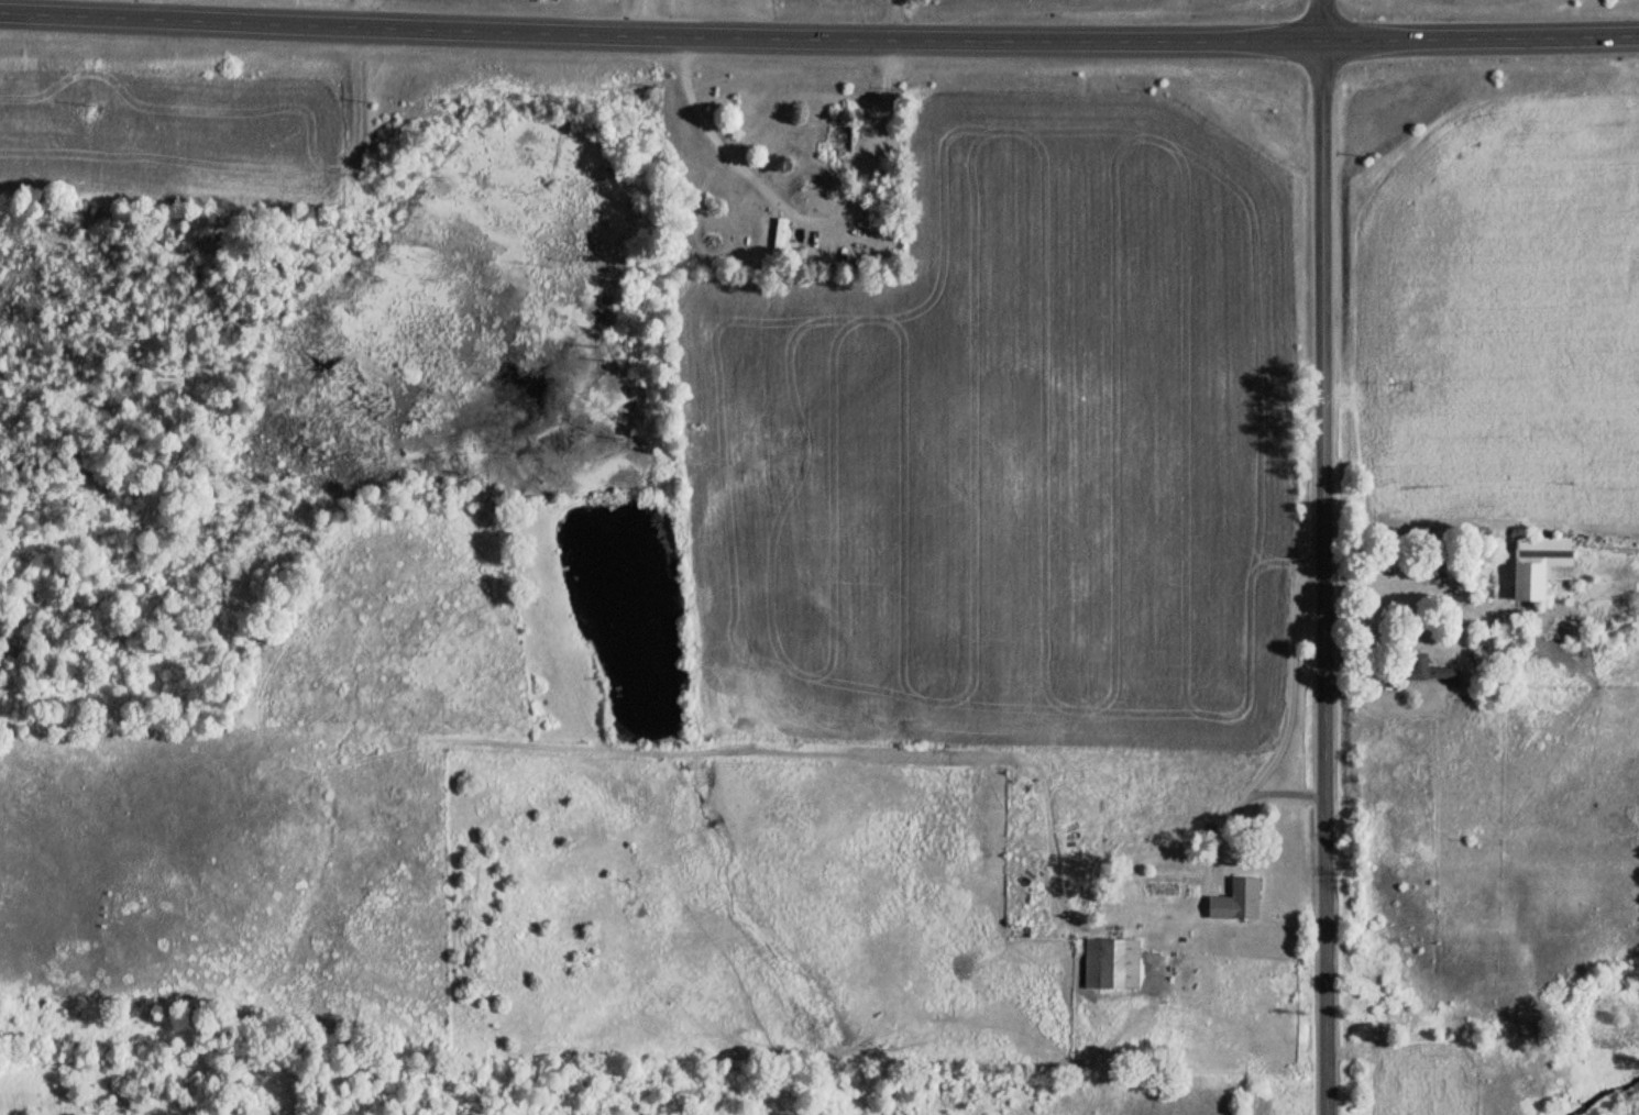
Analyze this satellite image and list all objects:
road: (818, 36)
road: (803, 216)
building: (777, 236)
road: (1319, 556)
building: (1535, 565)
building: (1420, 670)
road: (1294, 677)
road: (1191, 862)
building: (1232, 901)
building: (1101, 963)

